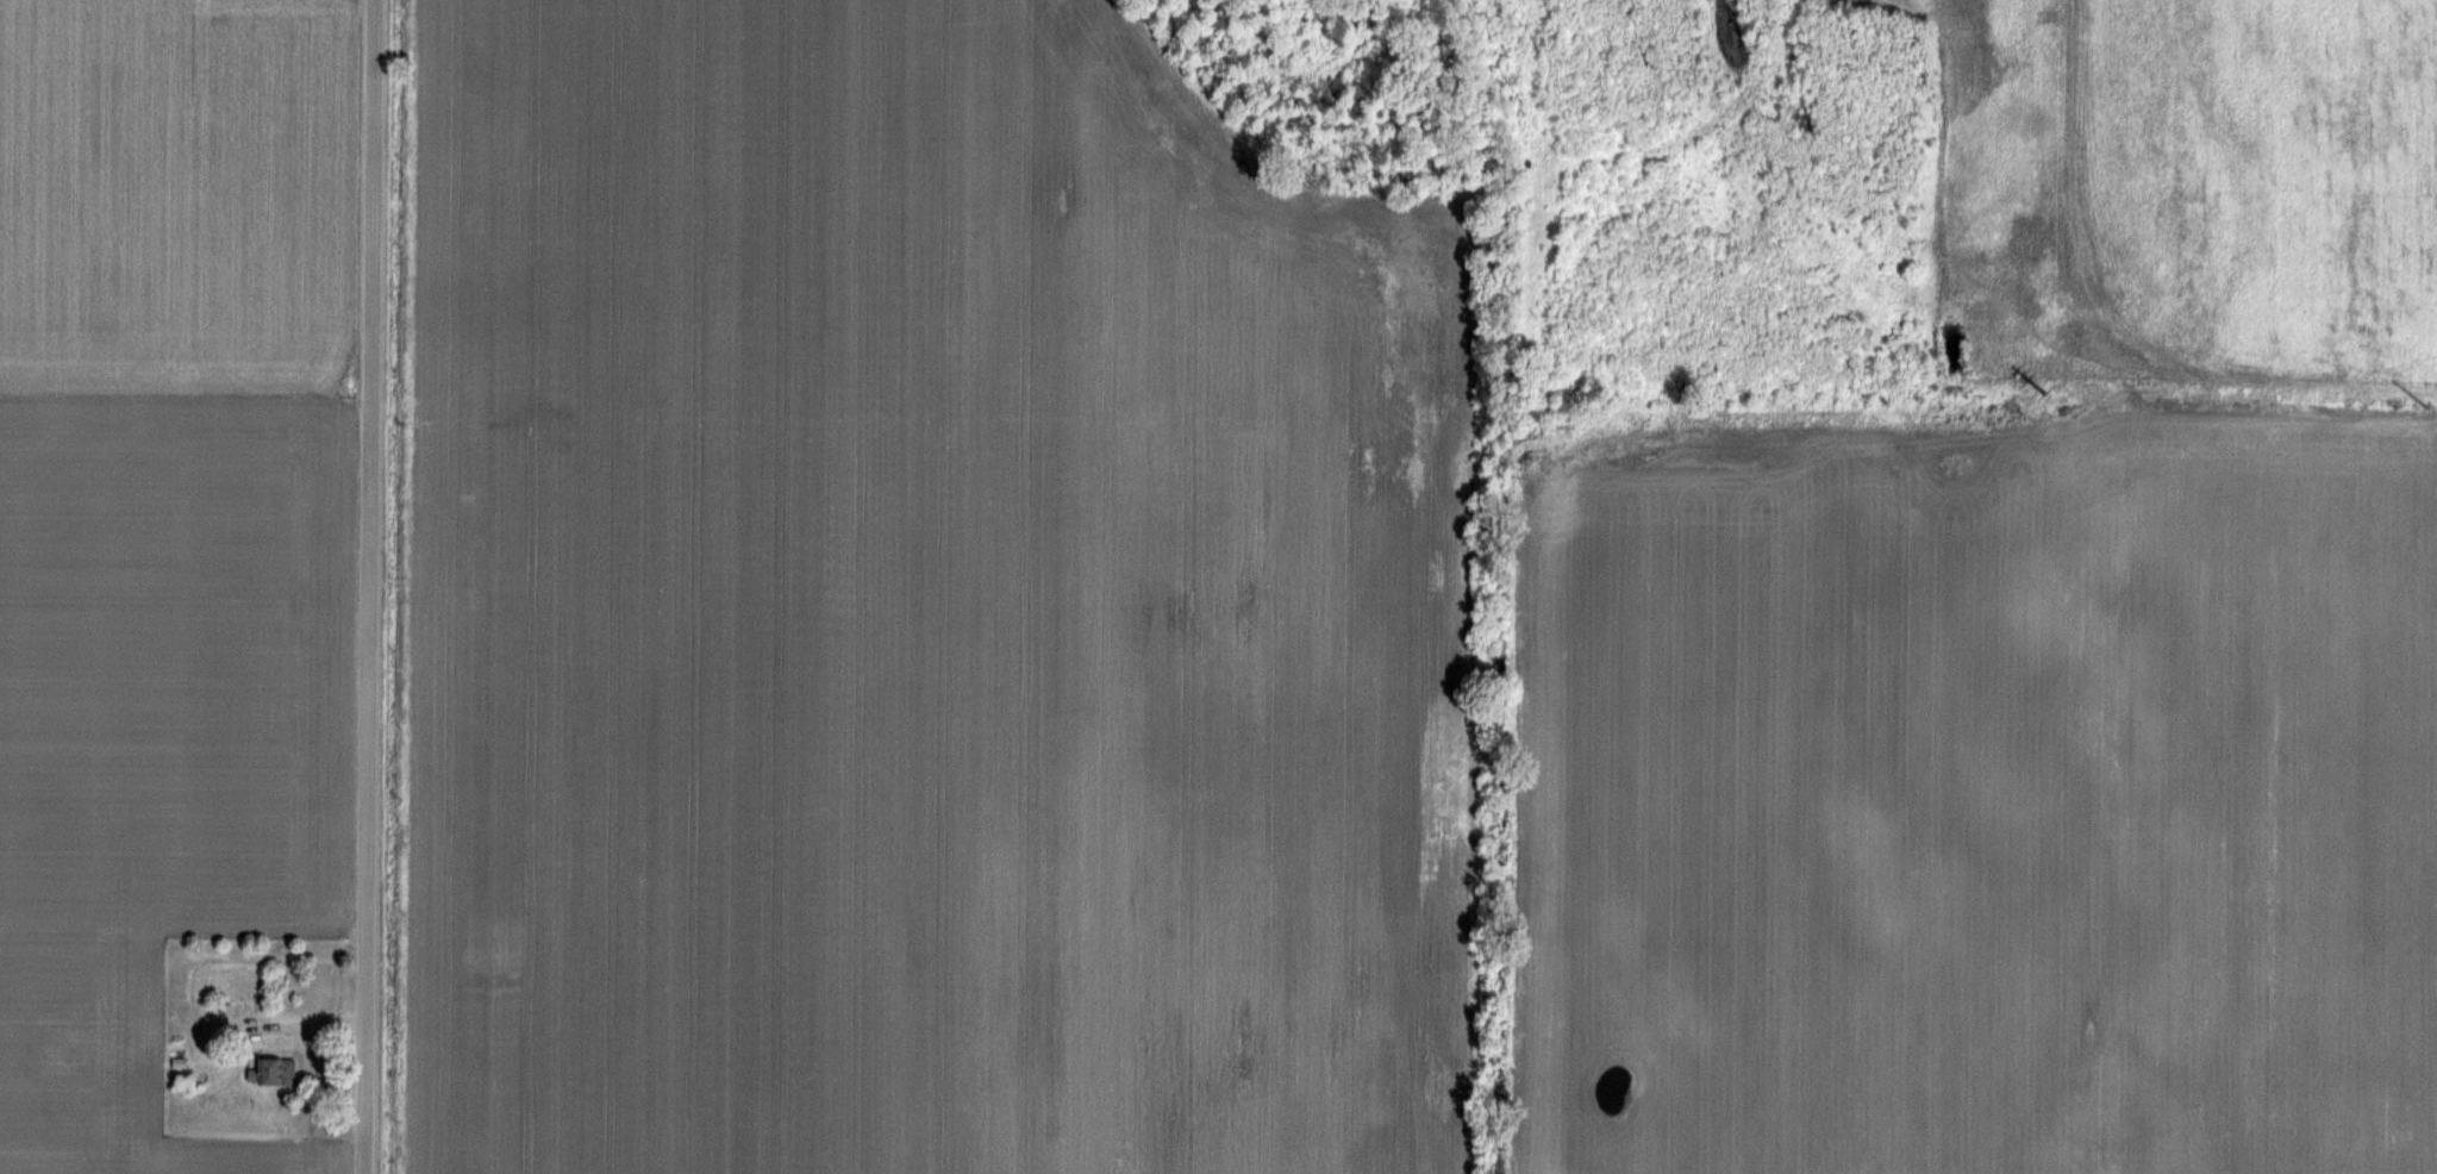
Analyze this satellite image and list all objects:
power tower: (2048, 394)
road: (374, 586)
road: (180, 994)
building: (54, 1043)
building: (271, 1072)

